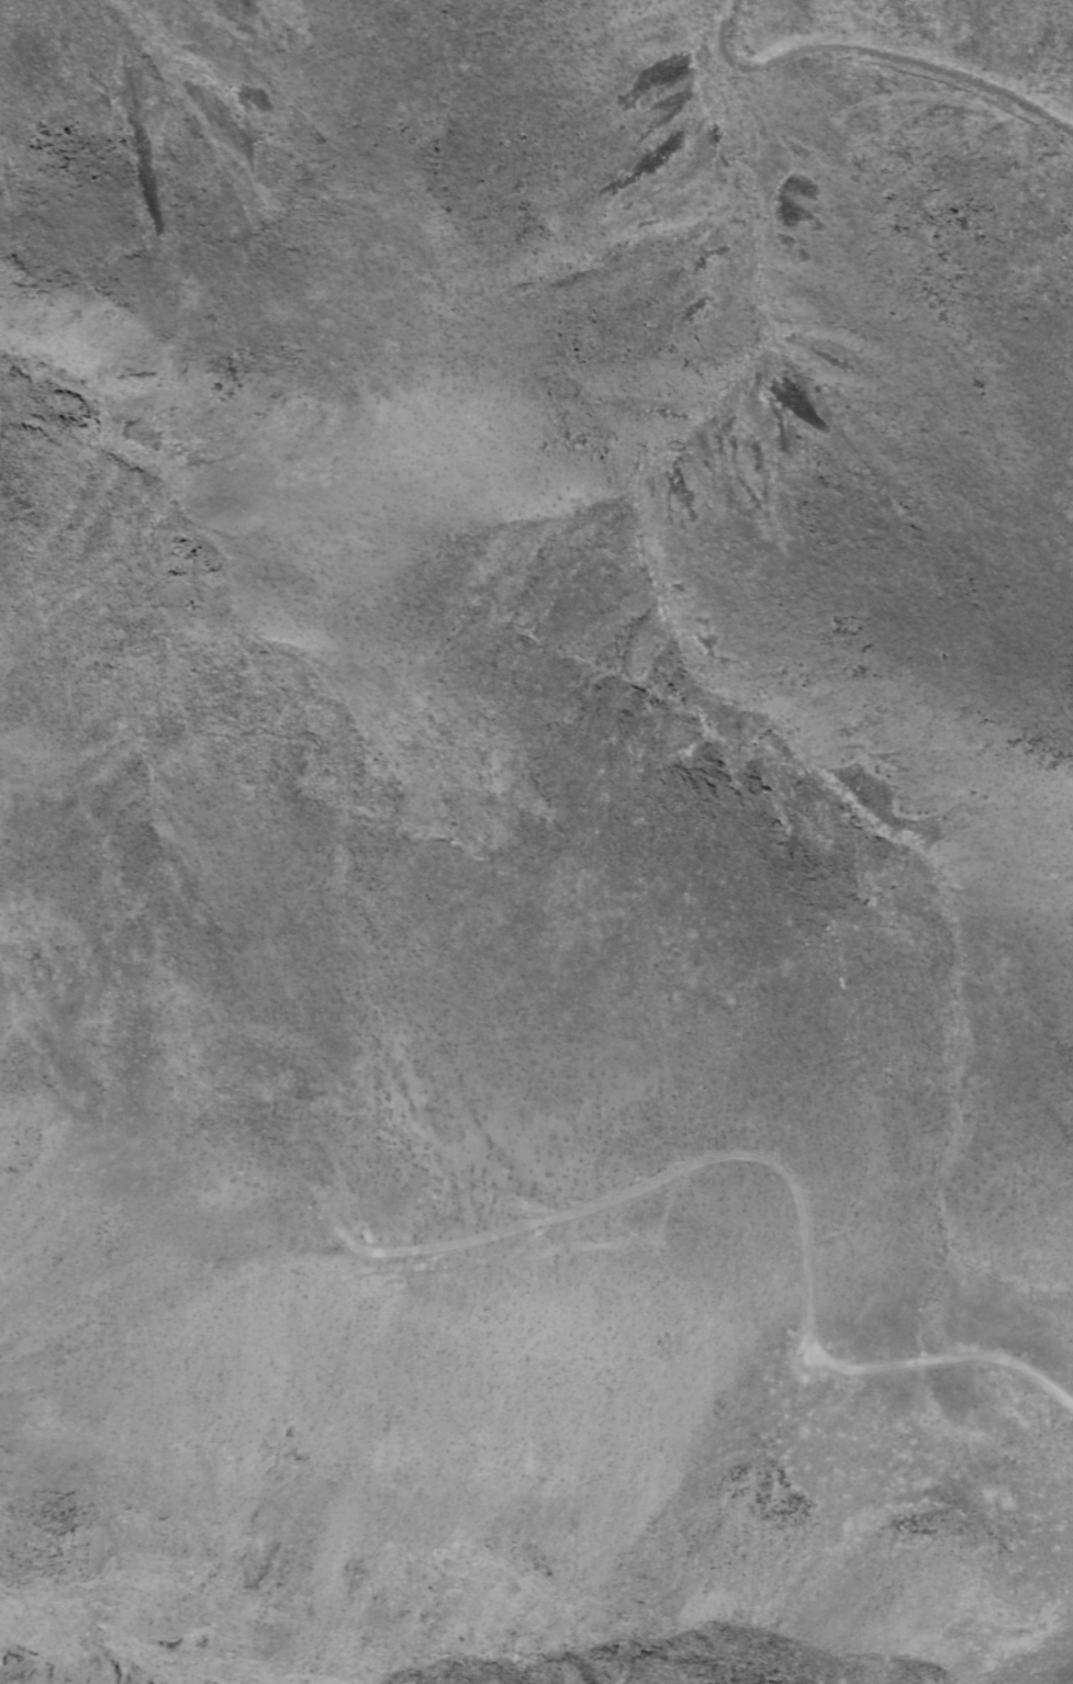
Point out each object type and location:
road: (874, 54)

